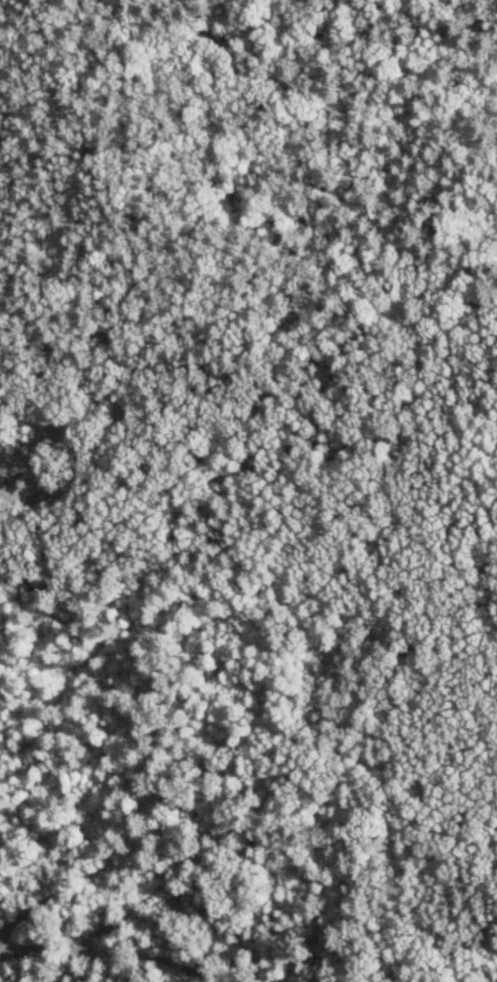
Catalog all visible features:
road: (447, 46)
road: (340, 363)
road: (388, 557)

